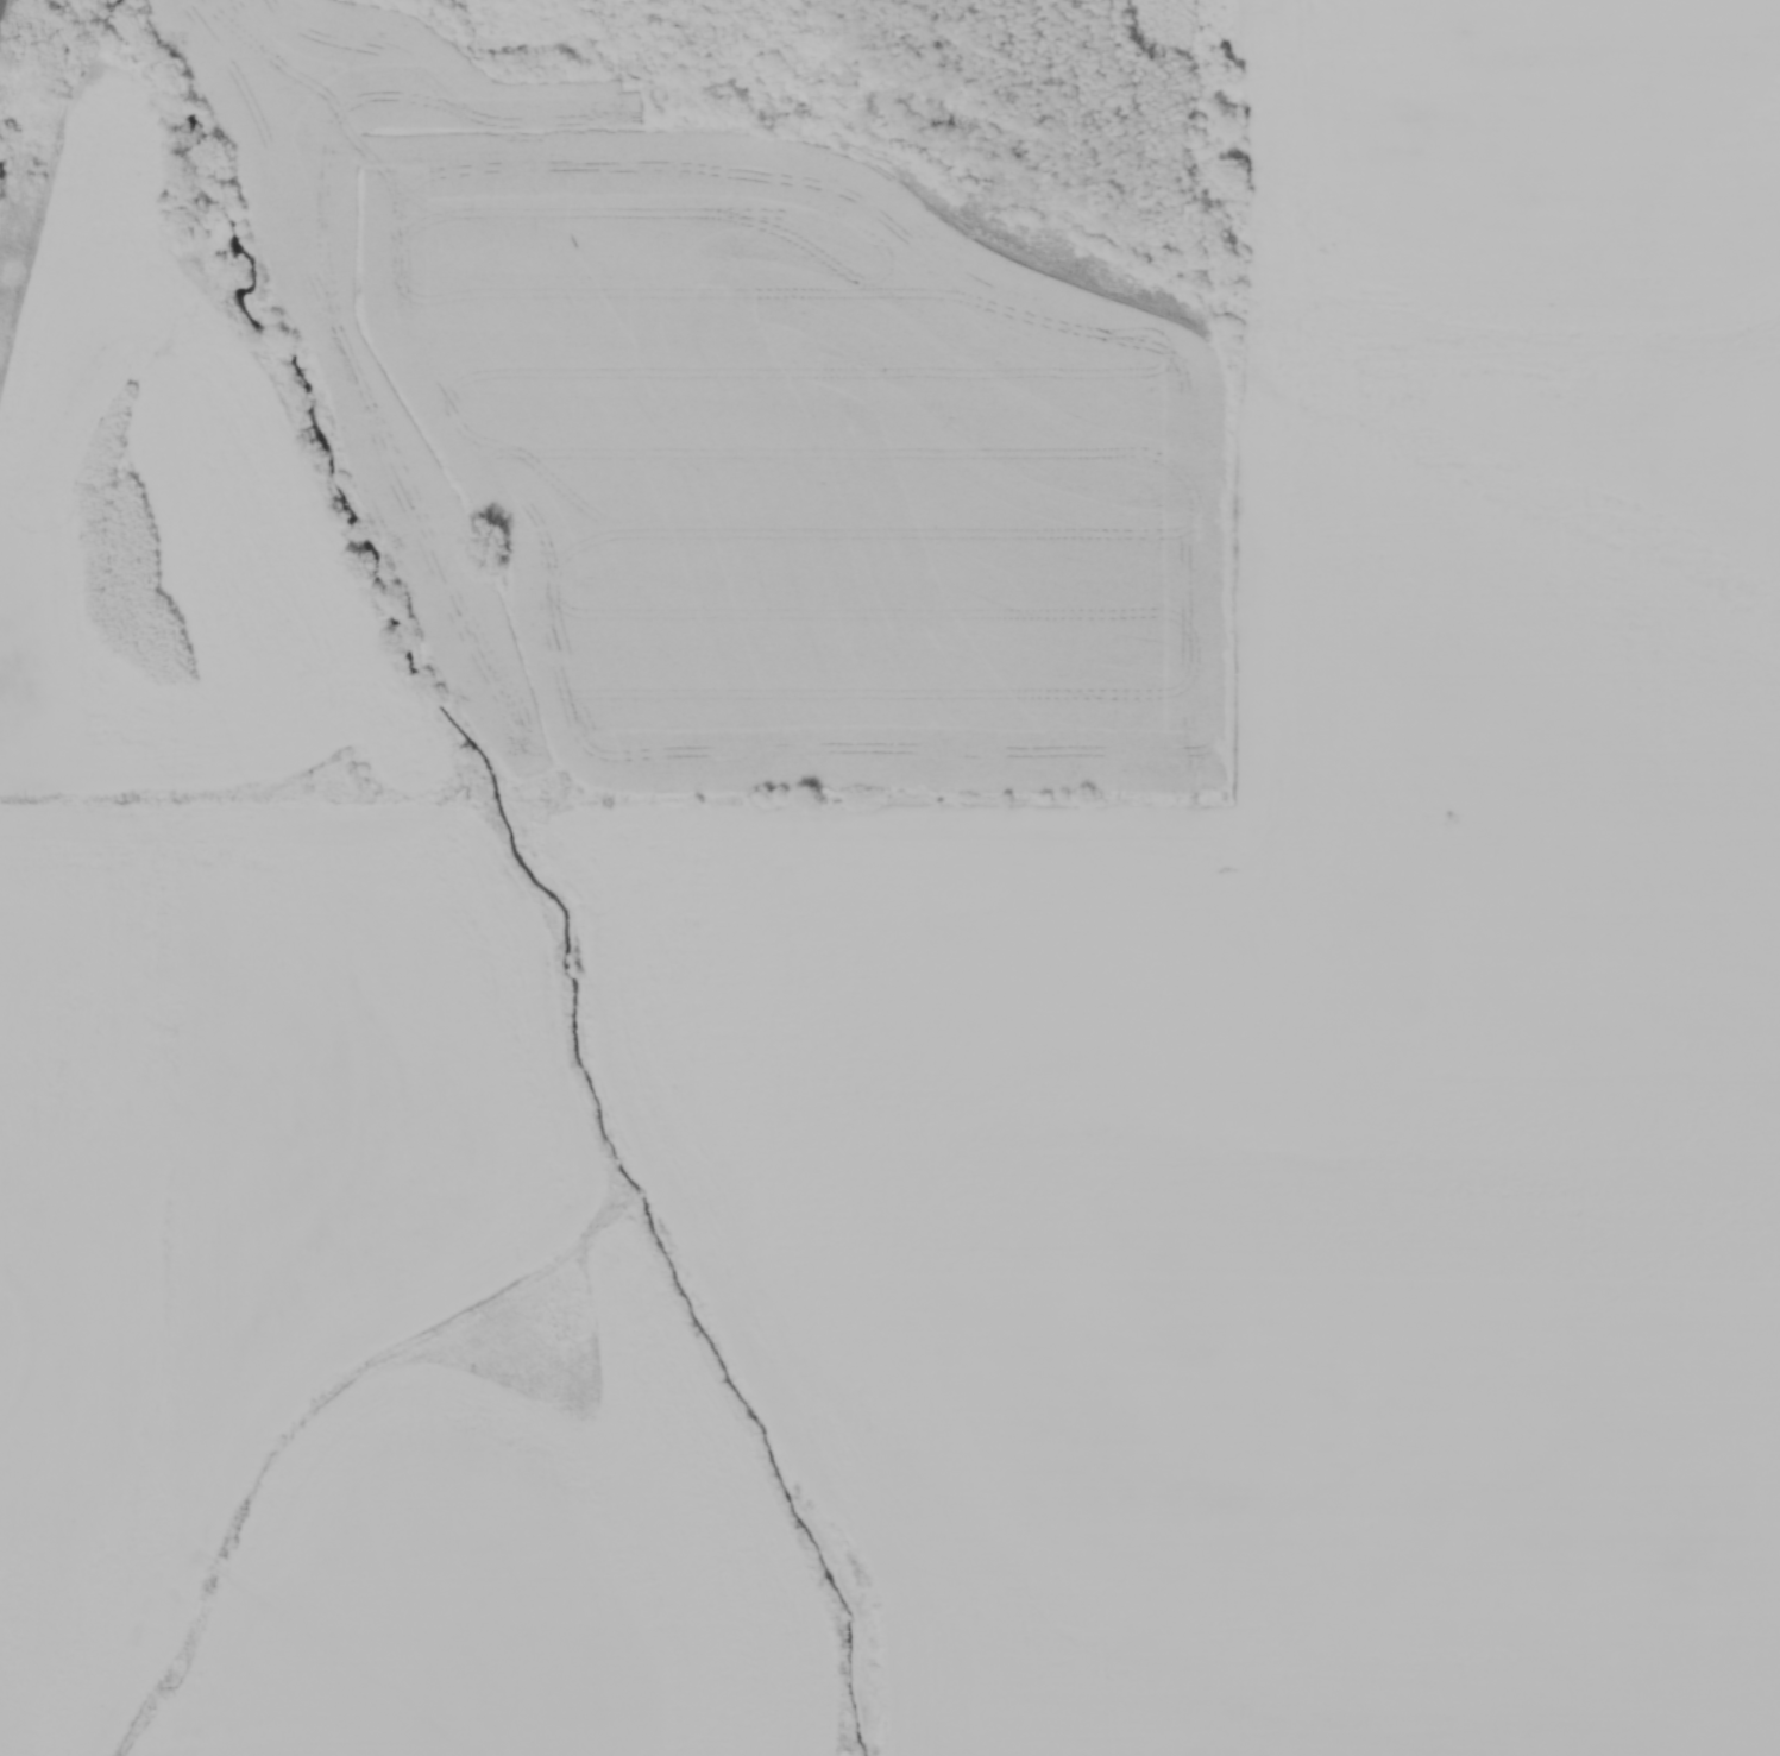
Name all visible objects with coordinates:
railway: (2, 11)

